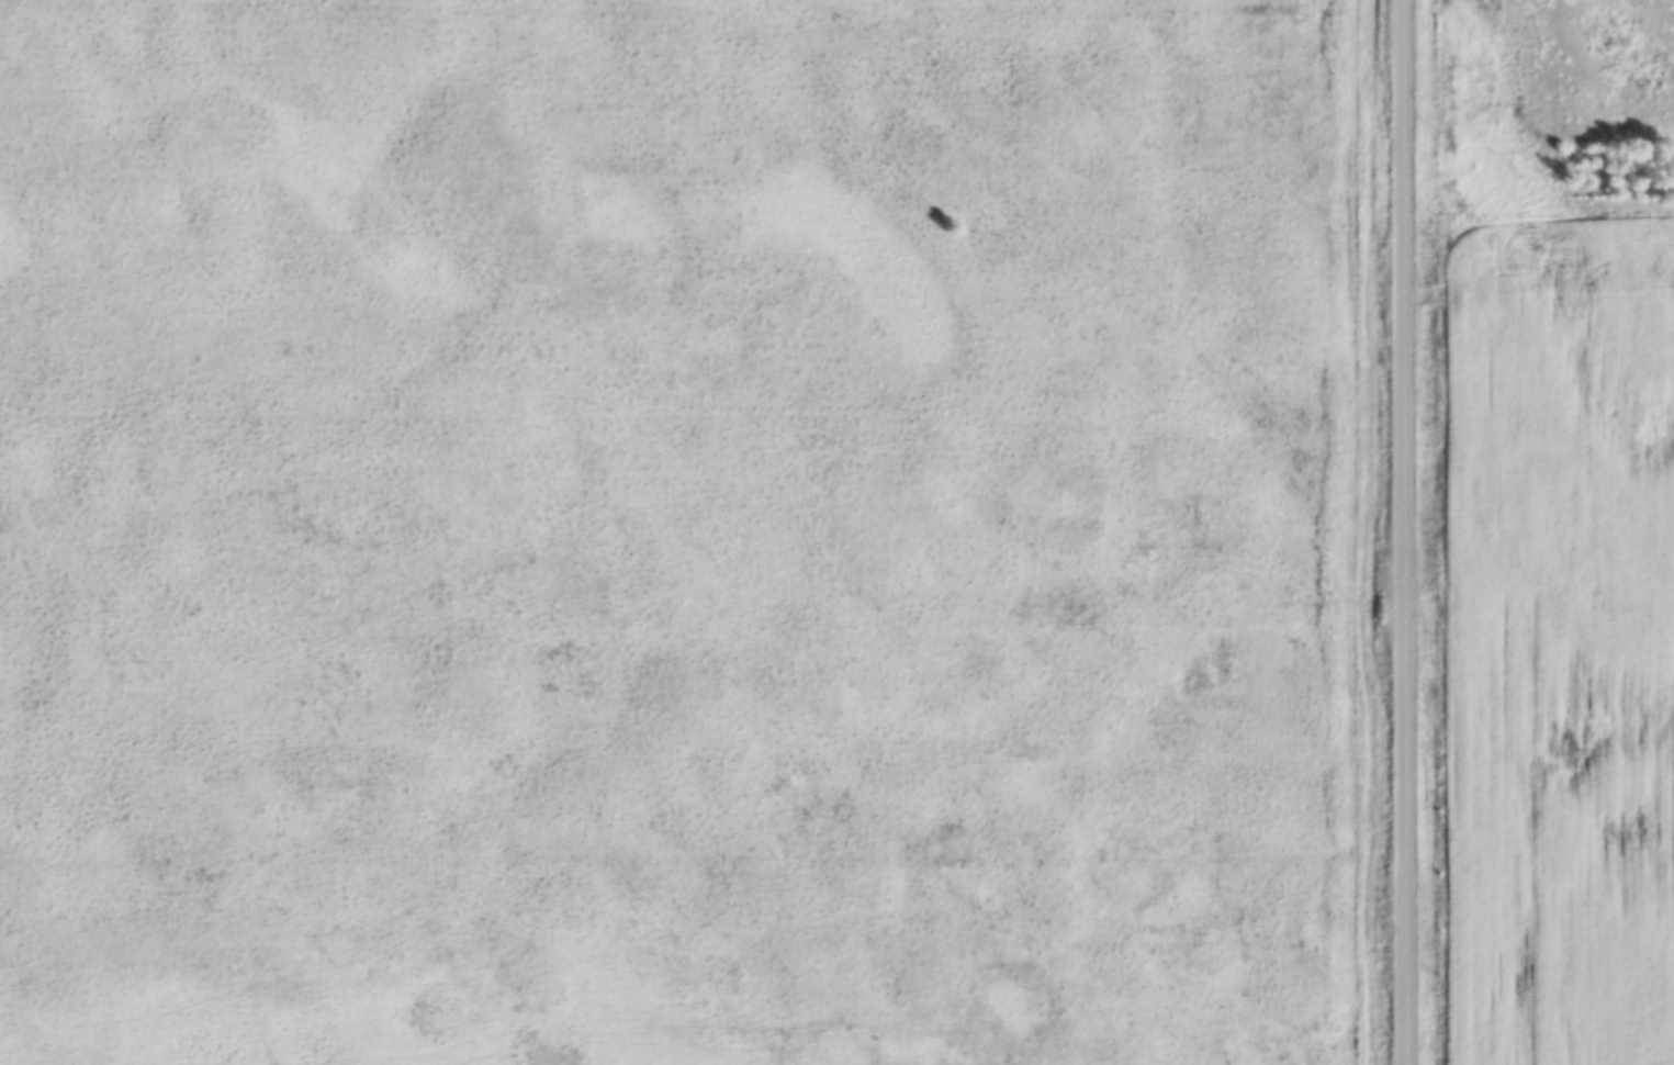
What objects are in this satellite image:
road: (1406, 532)

